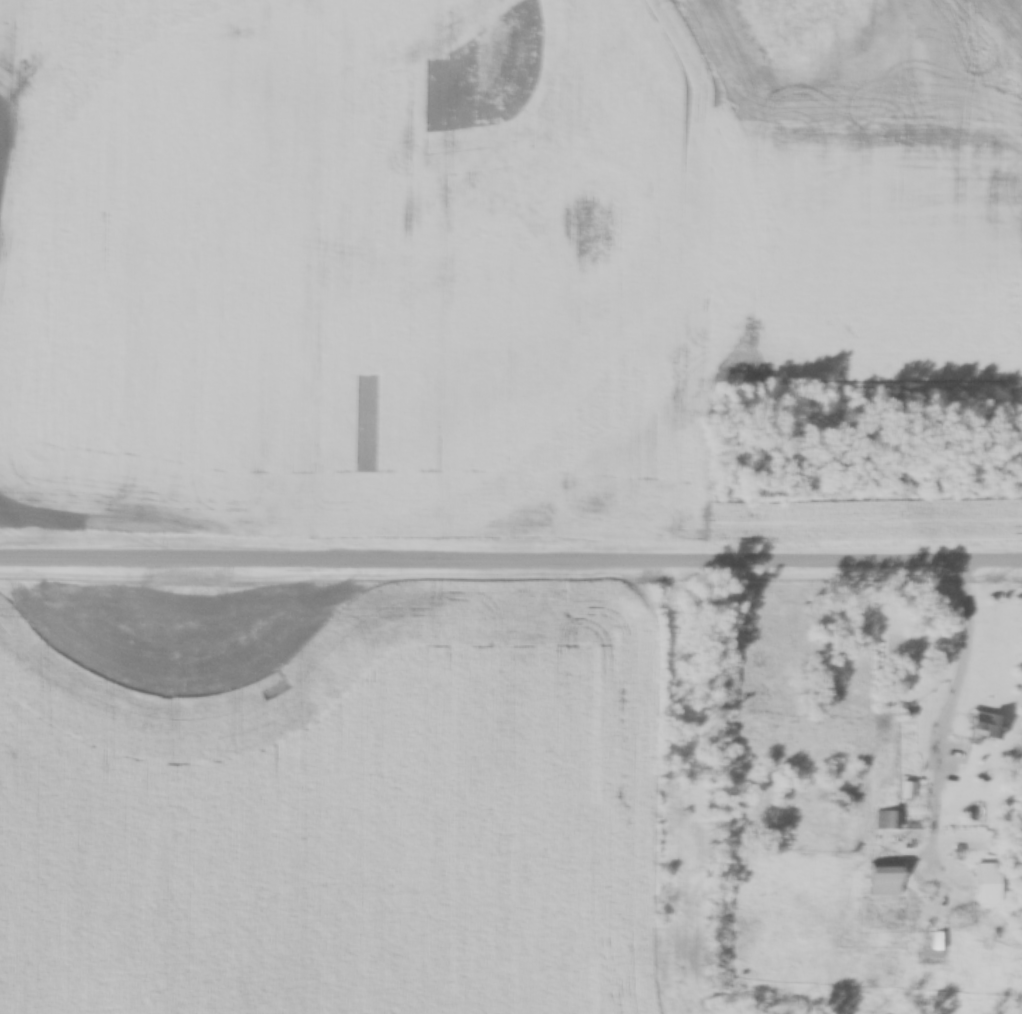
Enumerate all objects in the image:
road: (511, 559)
building: (983, 725)
building: (886, 820)
building: (880, 874)

